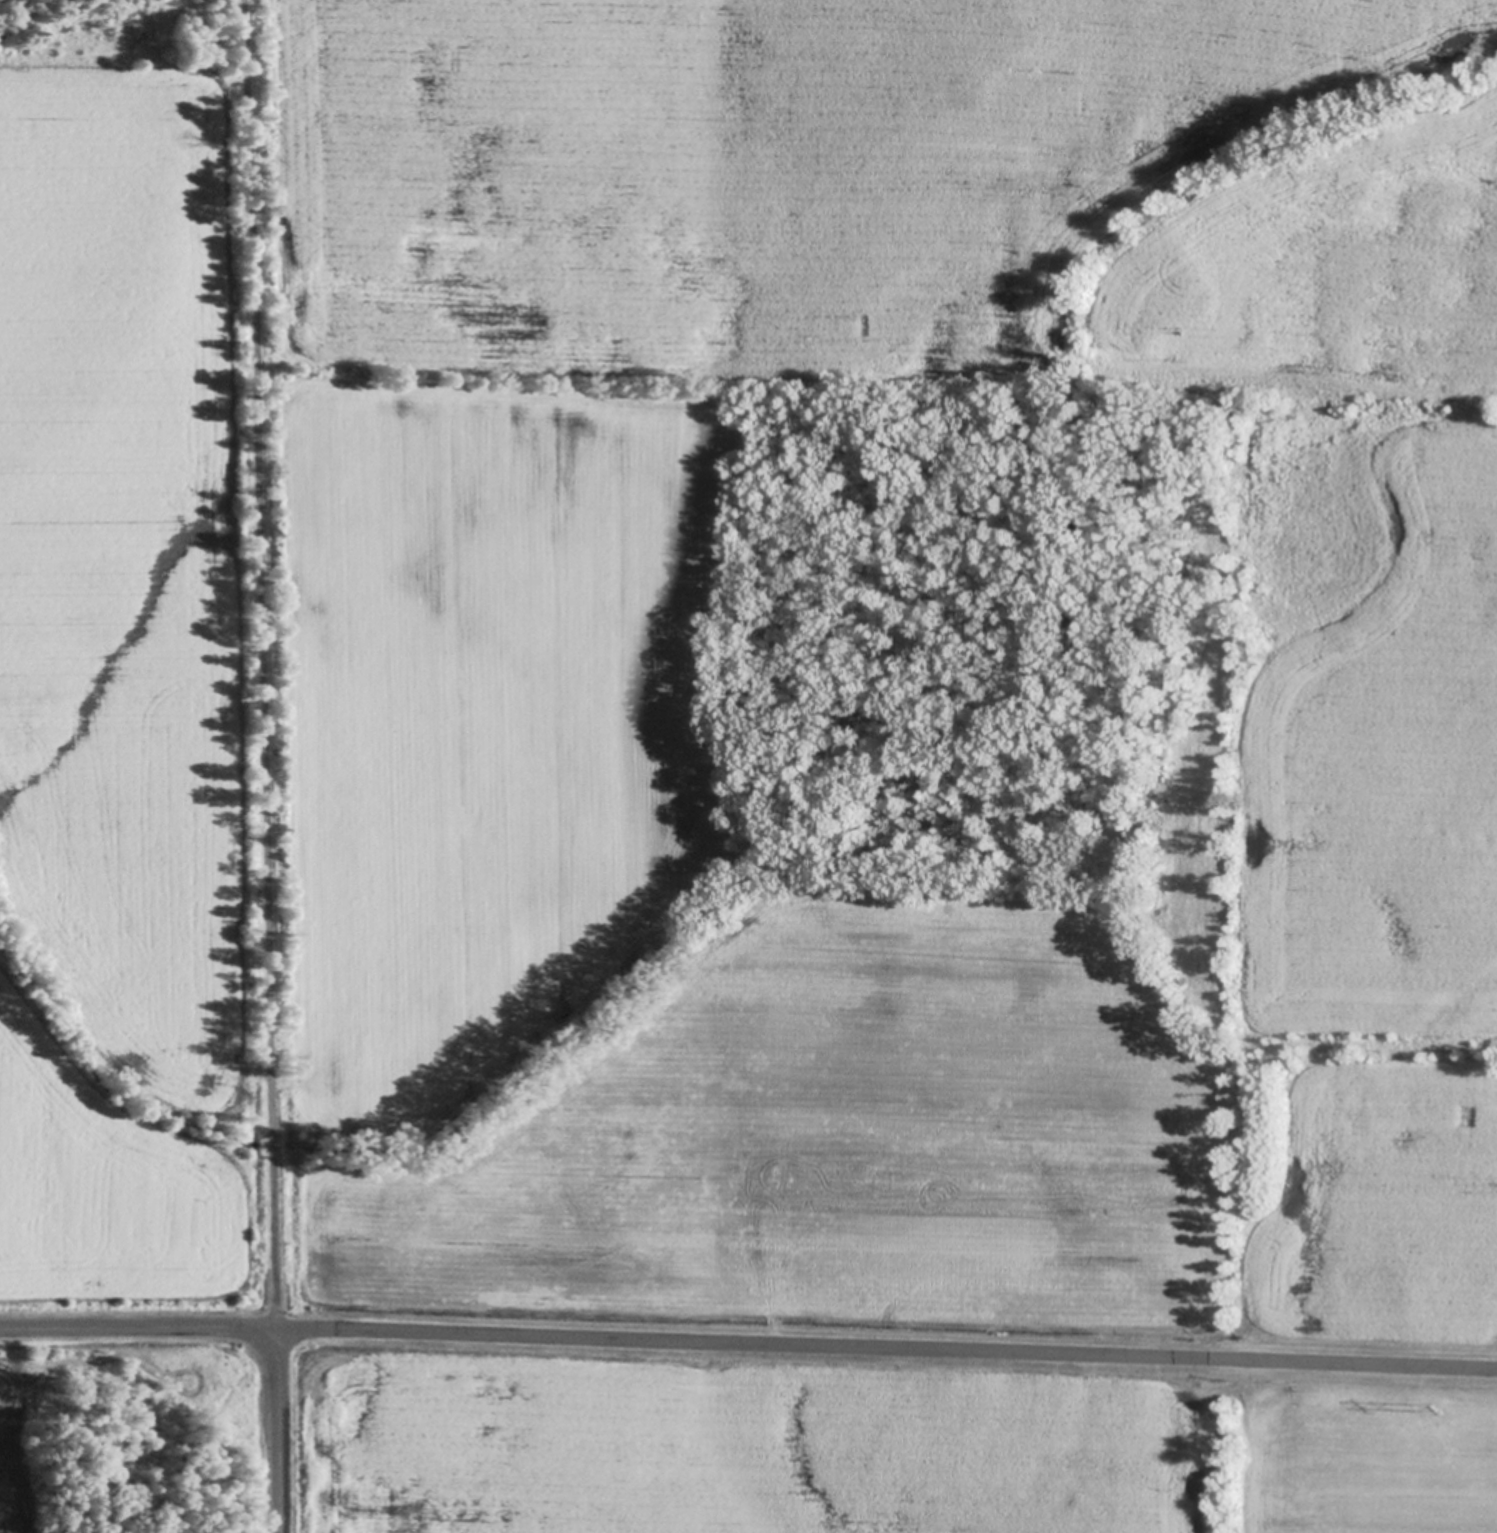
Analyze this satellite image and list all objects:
road: (252, 664)
road: (136, 1329)
road: (885, 1349)
power tower: (1432, 1409)
road: (274, 1430)

